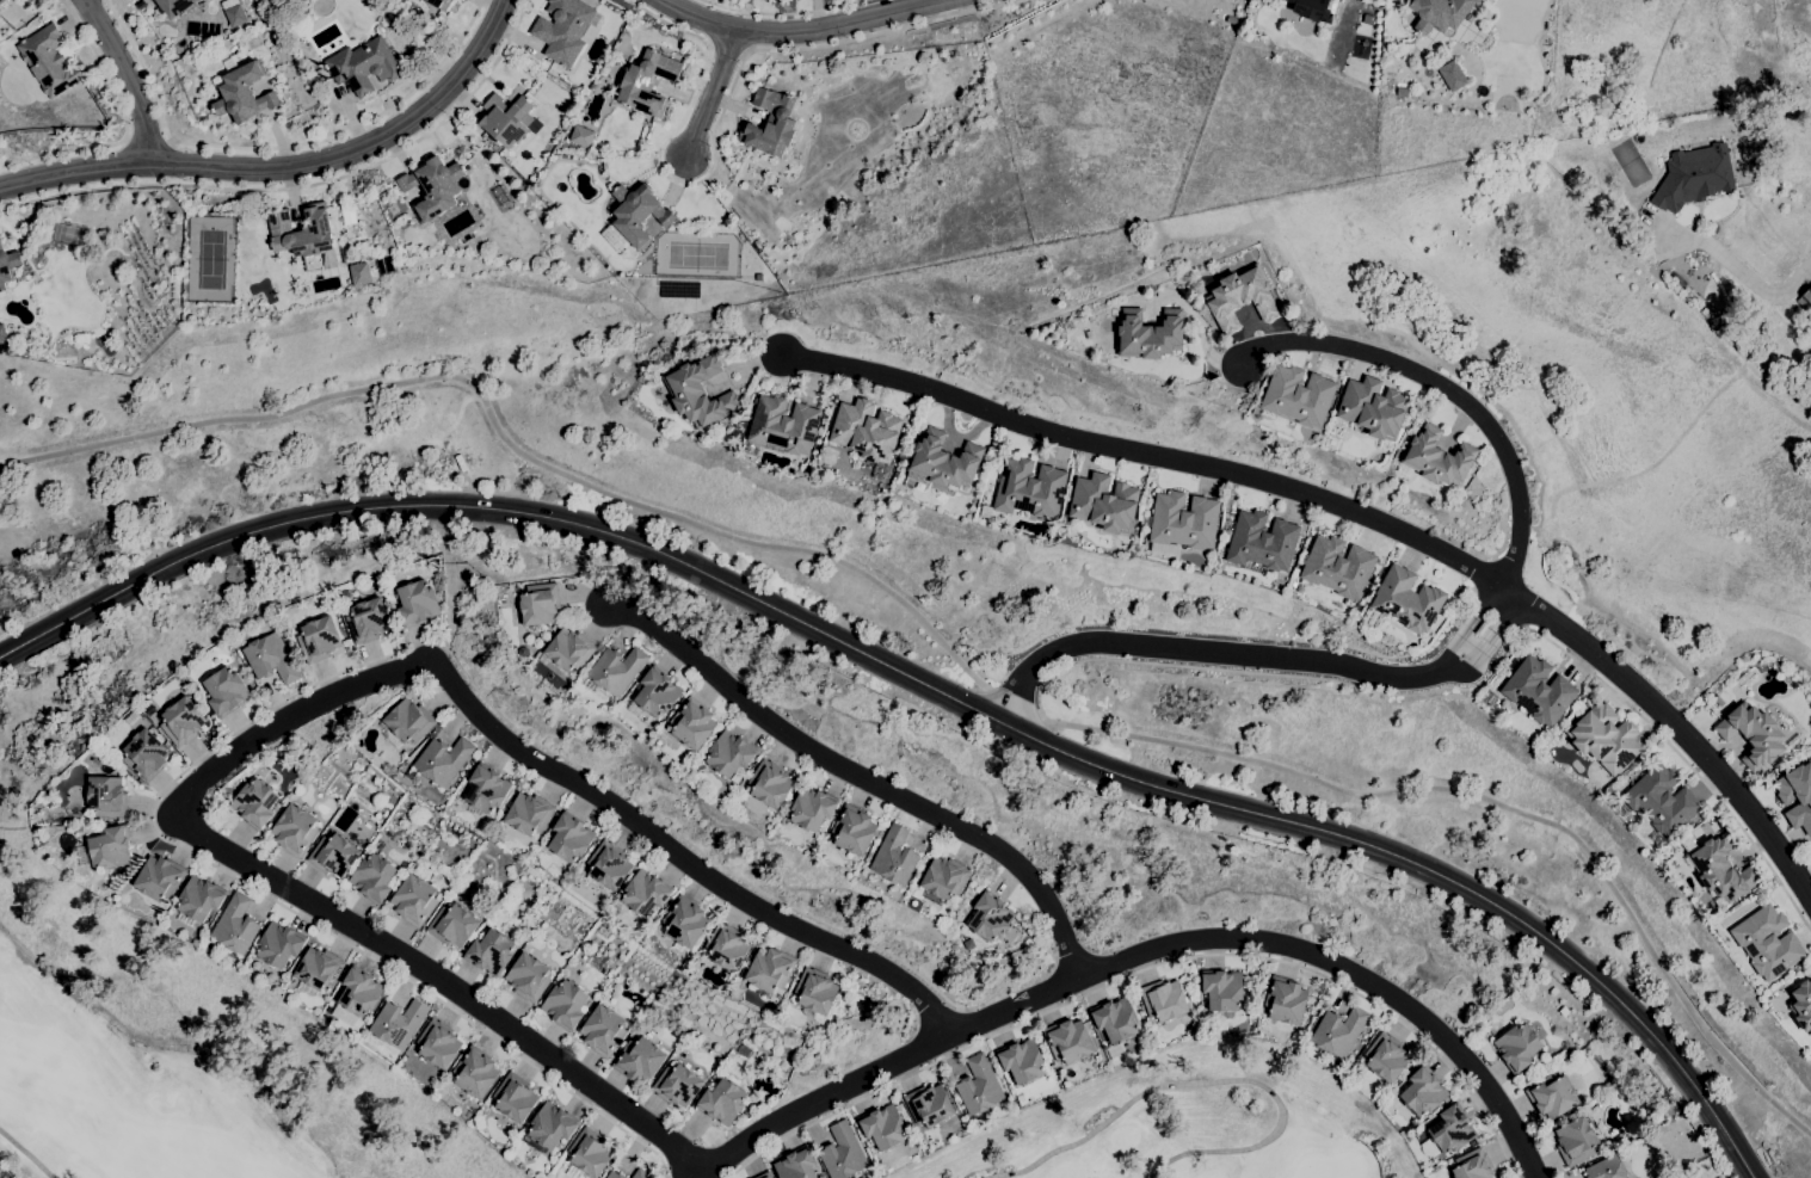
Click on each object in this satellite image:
building: (267, 0)
building: (1, 1)
building: (228, 4)
building: (441, 4)
building: (175, 6)
building: (1314, 8)
road: (781, 12)
building: (1439, 13)
building: (270, 14)
building: (235, 16)
building: (292, 16)
building: (272, 29)
building: (565, 29)
road: (806, 29)
building: (48, 61)
building: (363, 66)
building: (1450, 75)
road: (128, 78)
building: (313, 81)
building: (648, 82)
road: (716, 85)
building: (241, 92)
building: (1402, 92)
building: (562, 100)
road: (719, 117)
building: (506, 119)
building: (770, 123)
road: (124, 125)
building: (581, 136)
road: (146, 140)
road: (277, 146)
road: (285, 166)
building: (1694, 177)
road: (302, 185)
building: (433, 186)
building: (637, 214)
building: (655, 220)
building: (300, 232)
building: (101, 233)
building: (7, 266)
building: (359, 273)
building: (758, 277)
road: (1748, 279)
building: (1242, 297)
building: (1805, 301)
building: (2, 333)
building: (1150, 334)
building: (81, 338)
road: (1449, 389)
building: (698, 393)
building: (1298, 396)
building: (1373, 408)
building: (783, 425)
building: (866, 430)
building: (1332, 442)
building: (1436, 457)
building: (942, 462)
building: (1027, 489)
building: (1104, 502)
road: (1361, 513)
building: (1184, 520)
building: (1262, 541)
building: (1338, 566)
road: (449, 575)
building: (1407, 599)
building: (415, 603)
building: (540, 604)
building: (366, 621)
road: (1470, 623)
building: (1482, 628)
road: (1490, 637)
building: (318, 640)
building: (568, 649)
road: (948, 649)
road: (1209, 650)
building: (270, 659)
building: (616, 670)
road: (1484, 679)
road: (924, 684)
building: (1538, 690)
building: (224, 691)
building: (657, 692)
road: (282, 701)
road: (281, 718)
building: (181, 721)
building: (407, 723)
building: (692, 723)
building: (1753, 734)
building: (1604, 738)
building: (144, 754)
building: (728, 754)
building: (442, 760)
road: (858, 776)
building: (769, 784)
building: (486, 789)
building: (1797, 795)
building: (106, 796)
building: (1662, 801)
building: (254, 803)
building: (811, 809)
building: (1621, 809)
building: (528, 814)
building: (852, 829)
building: (294, 831)
building: (569, 838)
building: (110, 847)
building: (1810, 851)
building: (333, 855)
building: (893, 857)
building: (553, 863)
building: (606, 868)
building: (1719, 868)
building: (372, 877)
building: (159, 878)
building: (944, 878)
building: (643, 894)
building: (199, 898)
building: (413, 900)
building: (990, 918)
building: (684, 921)
building: (235, 925)
building: (452, 925)
building: (971, 942)
building: (1767, 942)
building: (278, 944)
building: (726, 948)
road: (1154, 948)
building: (489, 952)
road: (1145, 967)
building: (318, 969)
building: (770, 969)
building: (528, 977)
building: (1222, 989)
building: (359, 992)
building: (815, 992)
building: (1164, 1000)
building: (1285, 1000)
building: (565, 1004)
building: (1801, 1004)
road: (949, 1017)
building: (1116, 1020)
building: (398, 1023)
building: (603, 1031)
building: (1338, 1031)
building: (1068, 1041)
building: (438, 1044)
building: (1516, 1047)
building: (1385, 1057)
building: (639, 1060)
building: (1022, 1061)
building: (406, 1065)
building: (474, 1072)
road: (1209, 1081)
building: (677, 1085)
building: (979, 1086)
park: (134, 1088)
building: (1423, 1092)
building: (1552, 1096)
building: (515, 1098)
building: (721, 1102)
building: (929, 1105)
park: (1188, 1122)
building: (552, 1125)
building: (883, 1127)
building: (1448, 1133)
building: (1575, 1141)
building: (590, 1153)
building: (843, 1153)
road: (26, 1154)
building: (796, 1165)
building: (1472, 1165)
building: (1606, 1168)
building: (614, 1174)
building: (641, 1174)
building: (765, 1176)

